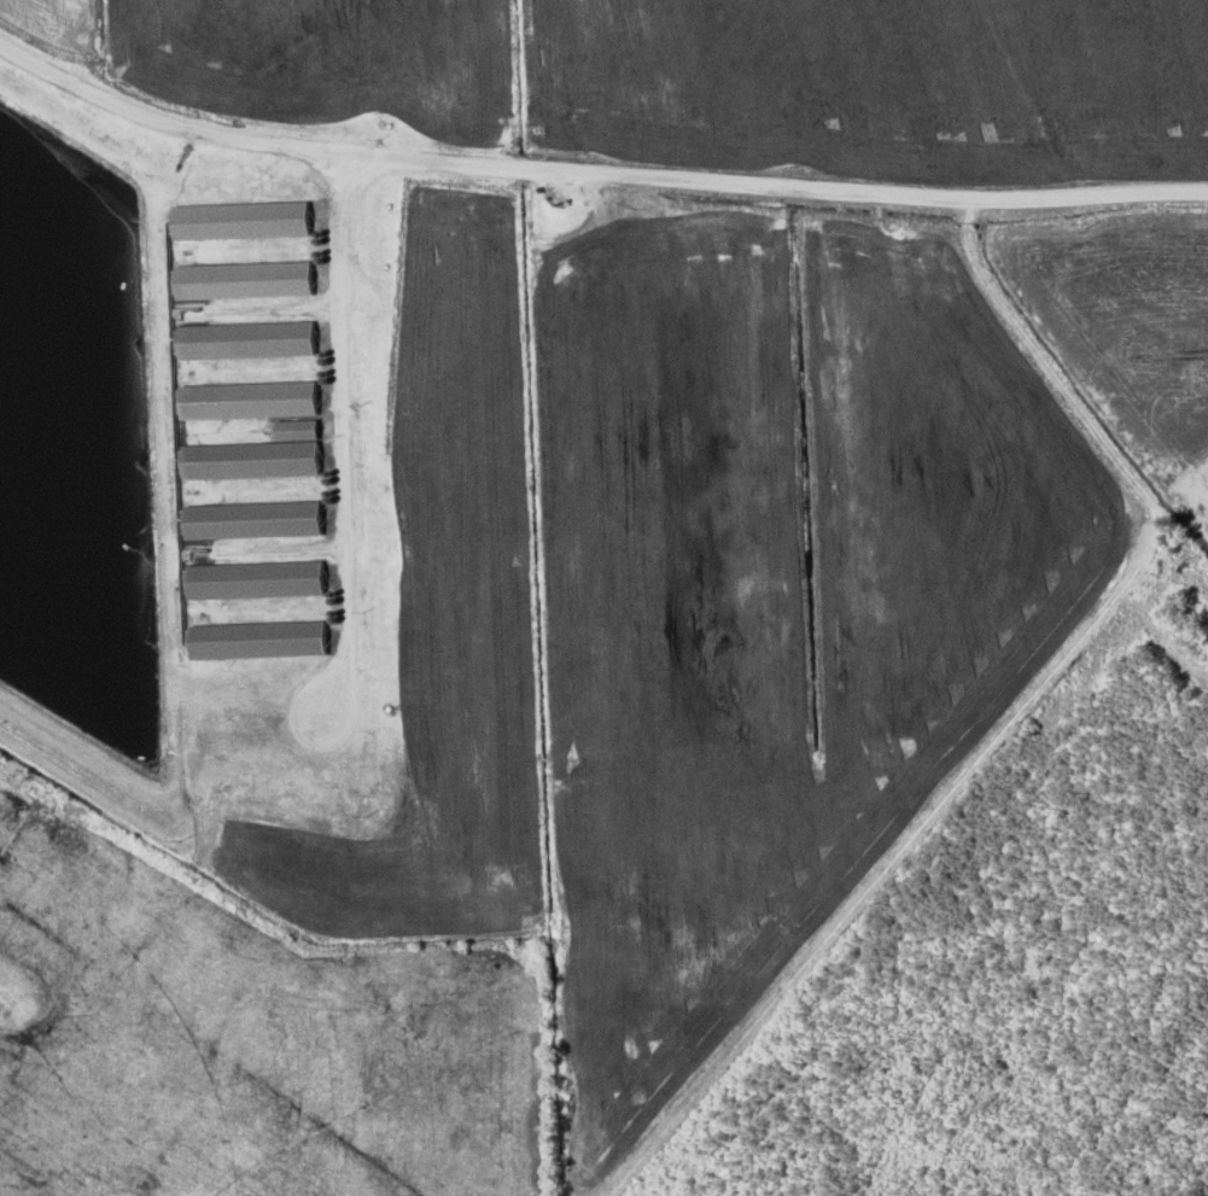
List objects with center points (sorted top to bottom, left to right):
road: (593, 171)
building: (238, 218)
building: (240, 278)
building: (244, 338)
building: (243, 399)
building: (291, 428)
road: (335, 433)
building: (244, 457)
building: (247, 519)
building: (249, 578)
building: (251, 637)
road: (1010, 719)

